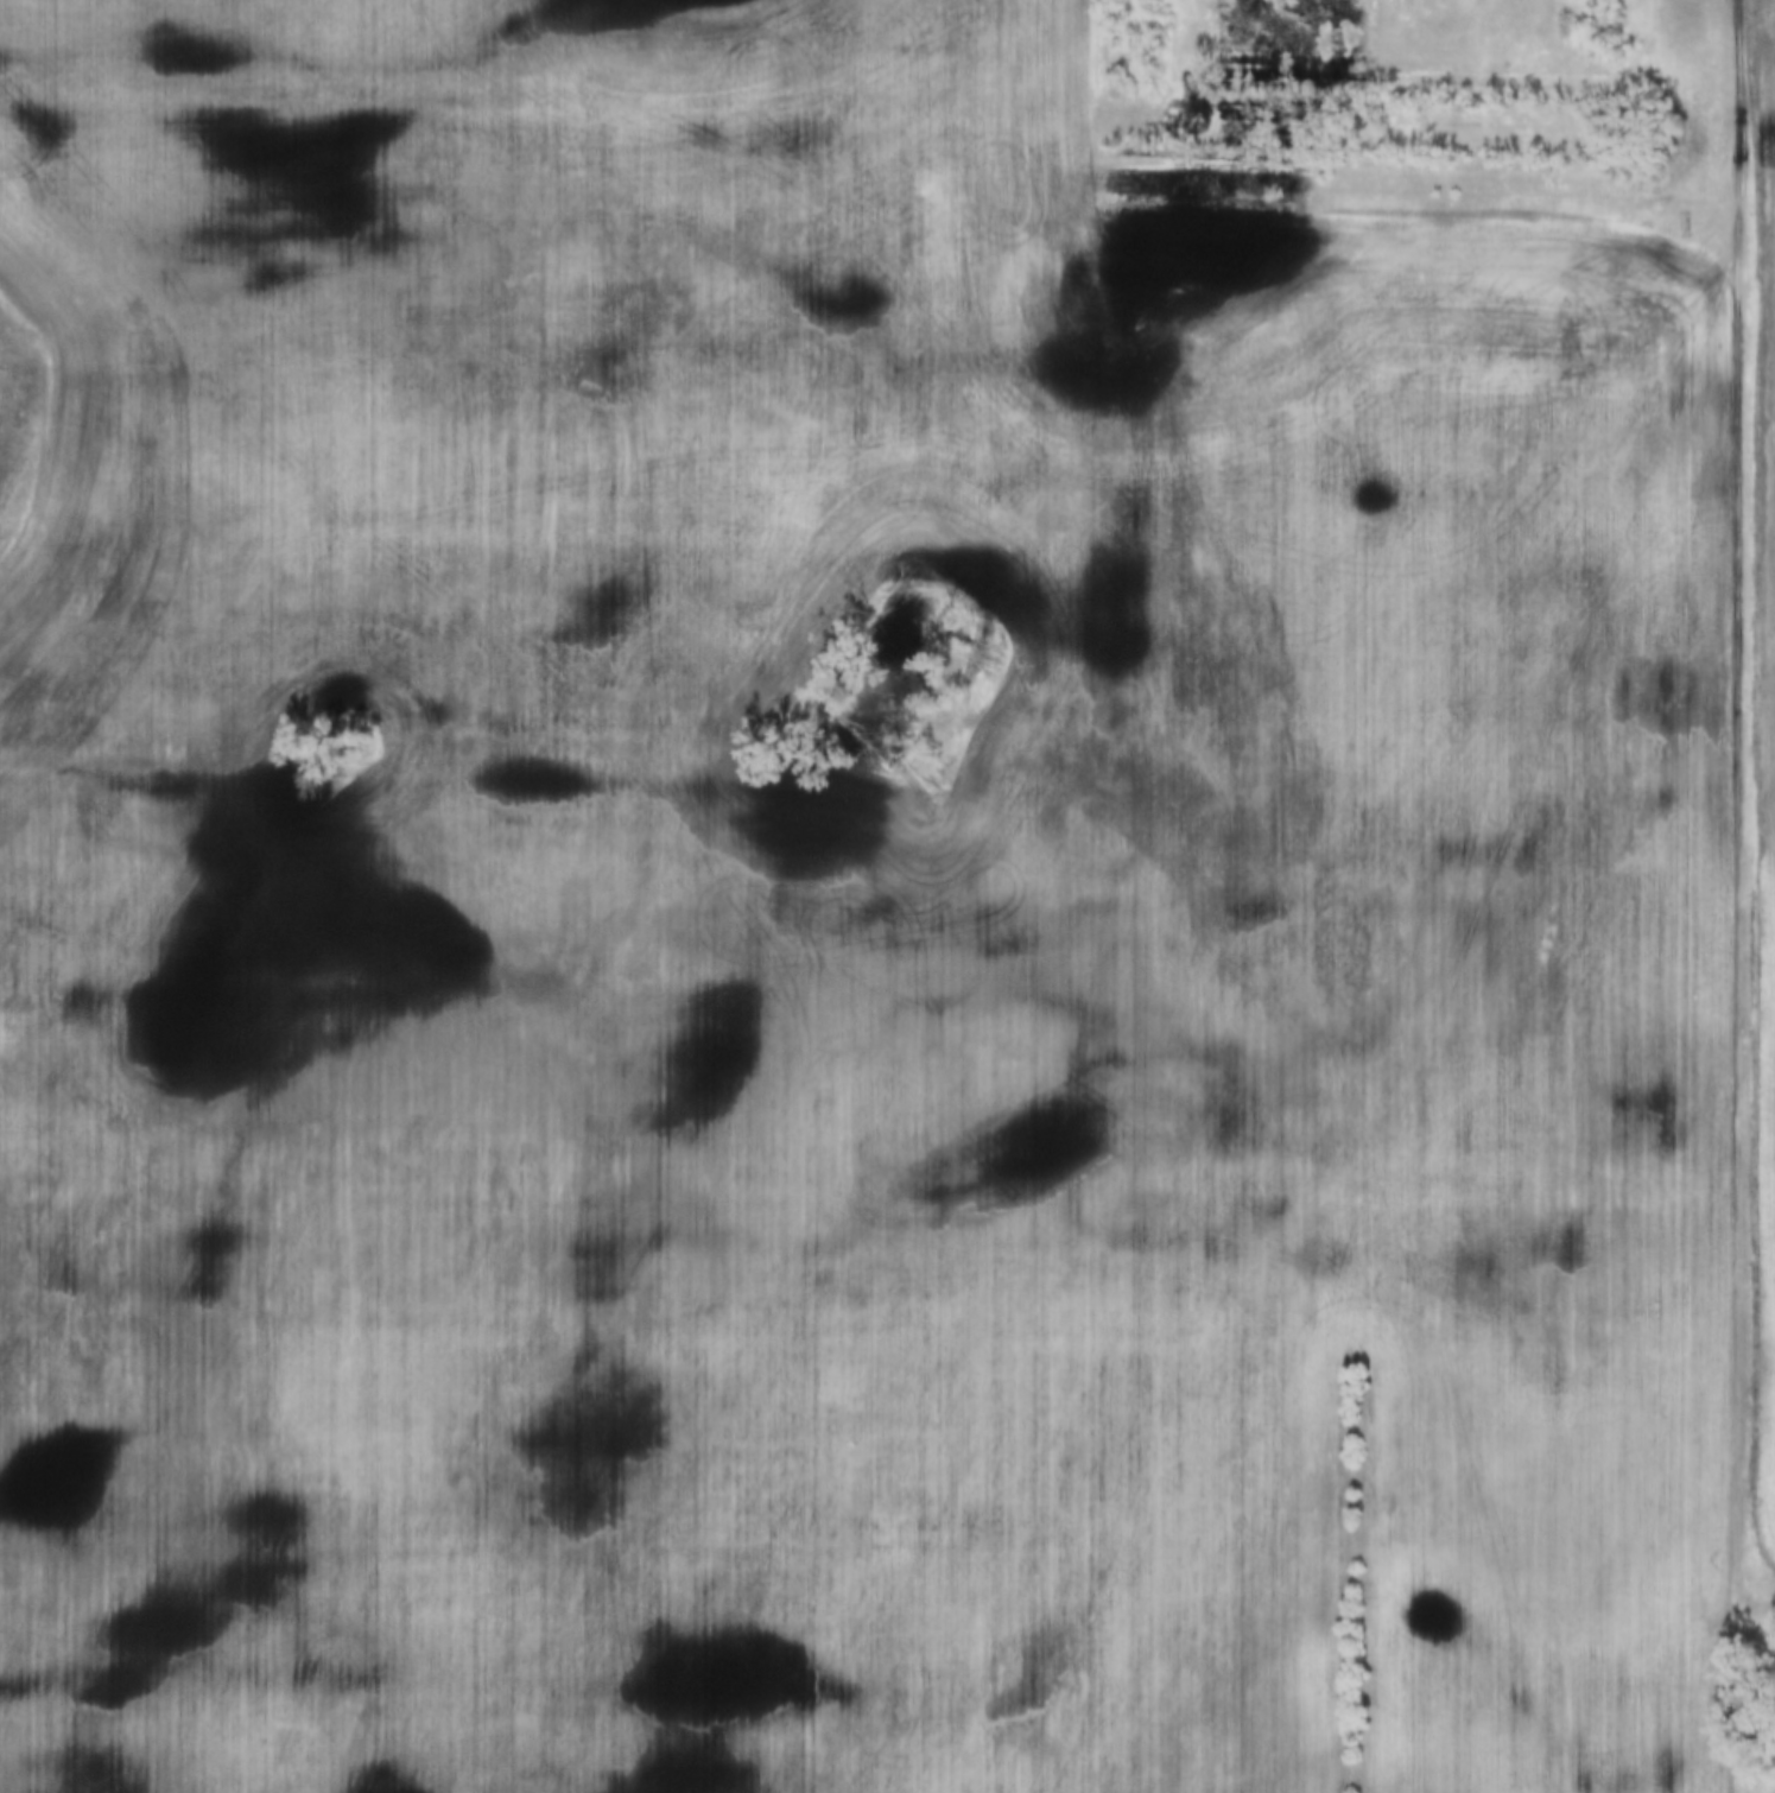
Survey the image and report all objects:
road: (1743, 895)

